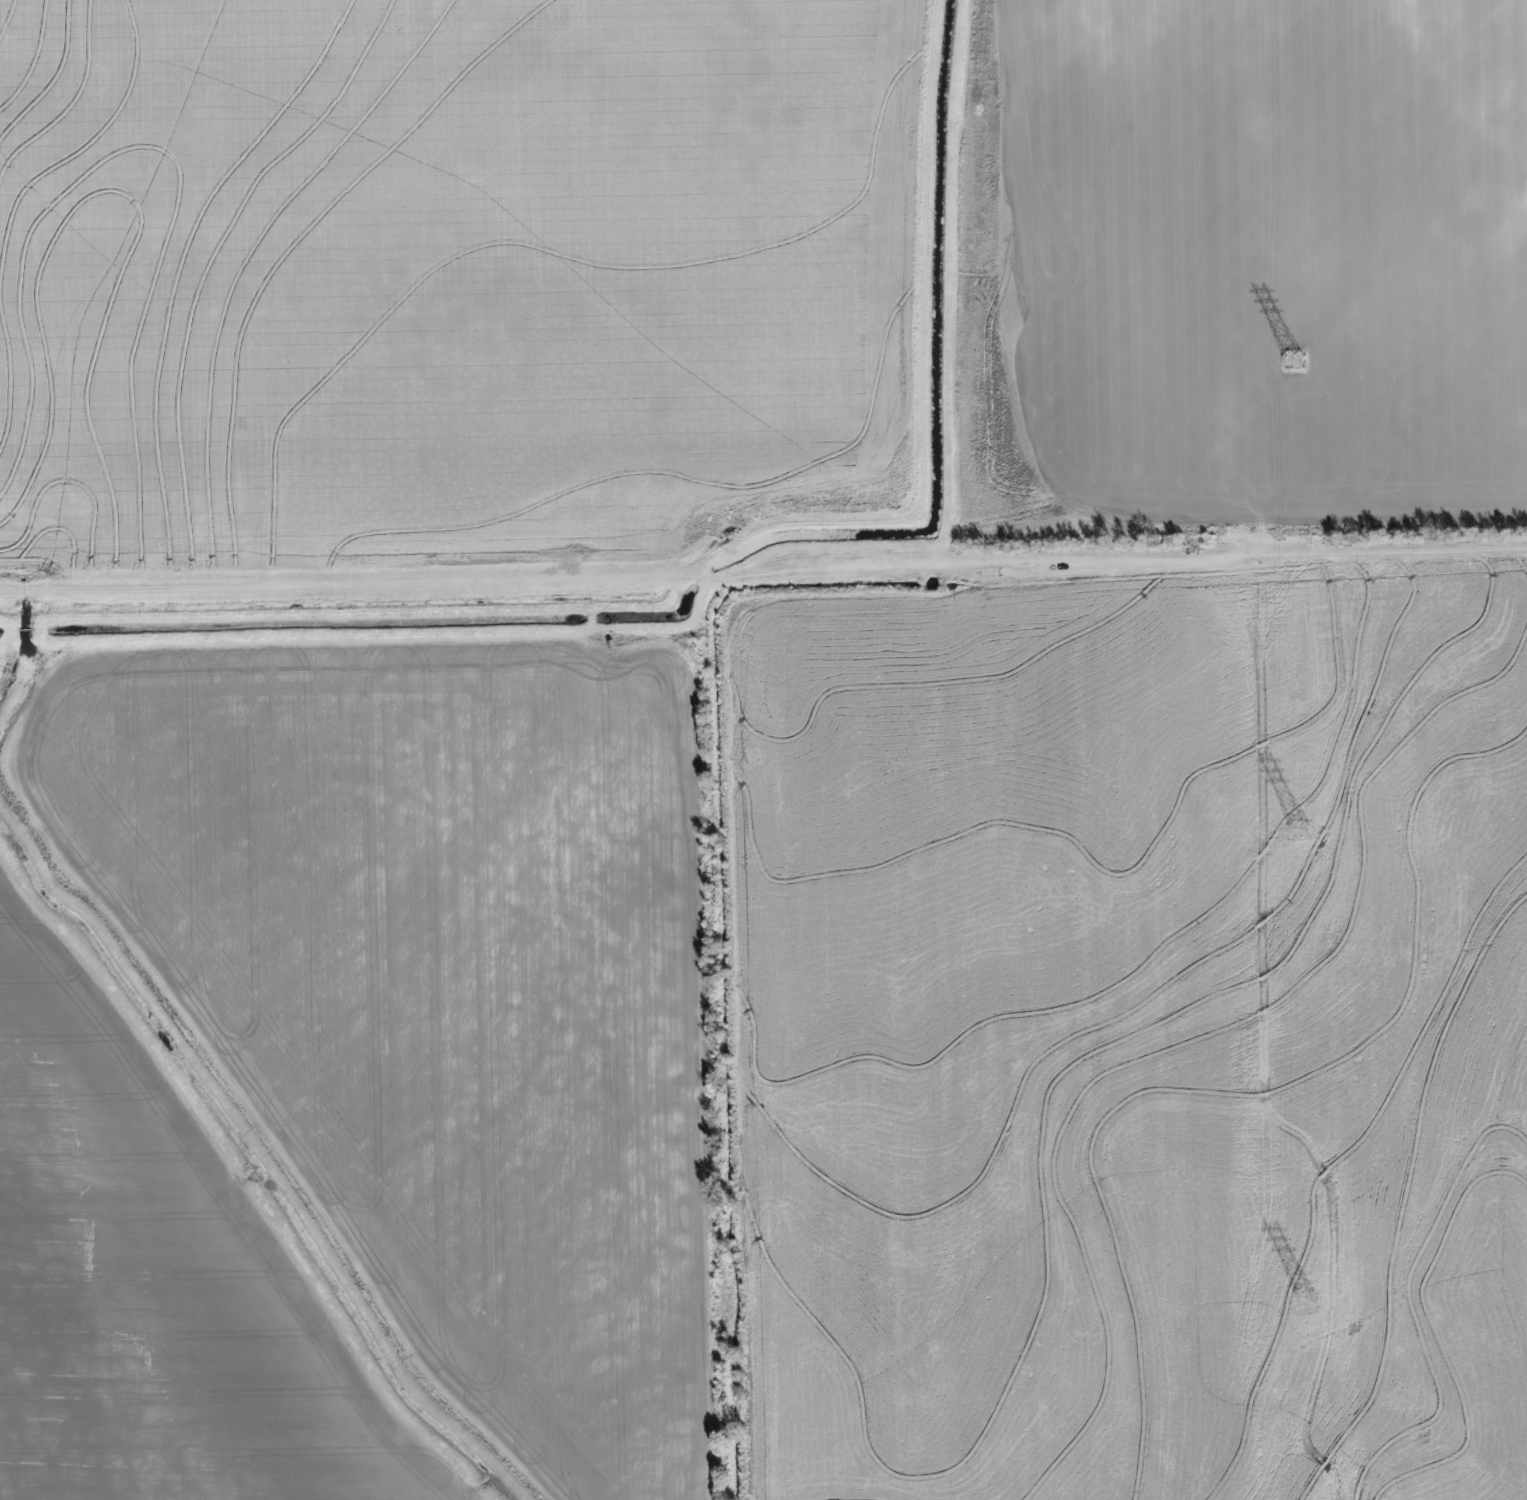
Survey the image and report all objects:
power tower: (1293, 360)
power tower: (1300, 830)
power tower: (1306, 1298)

